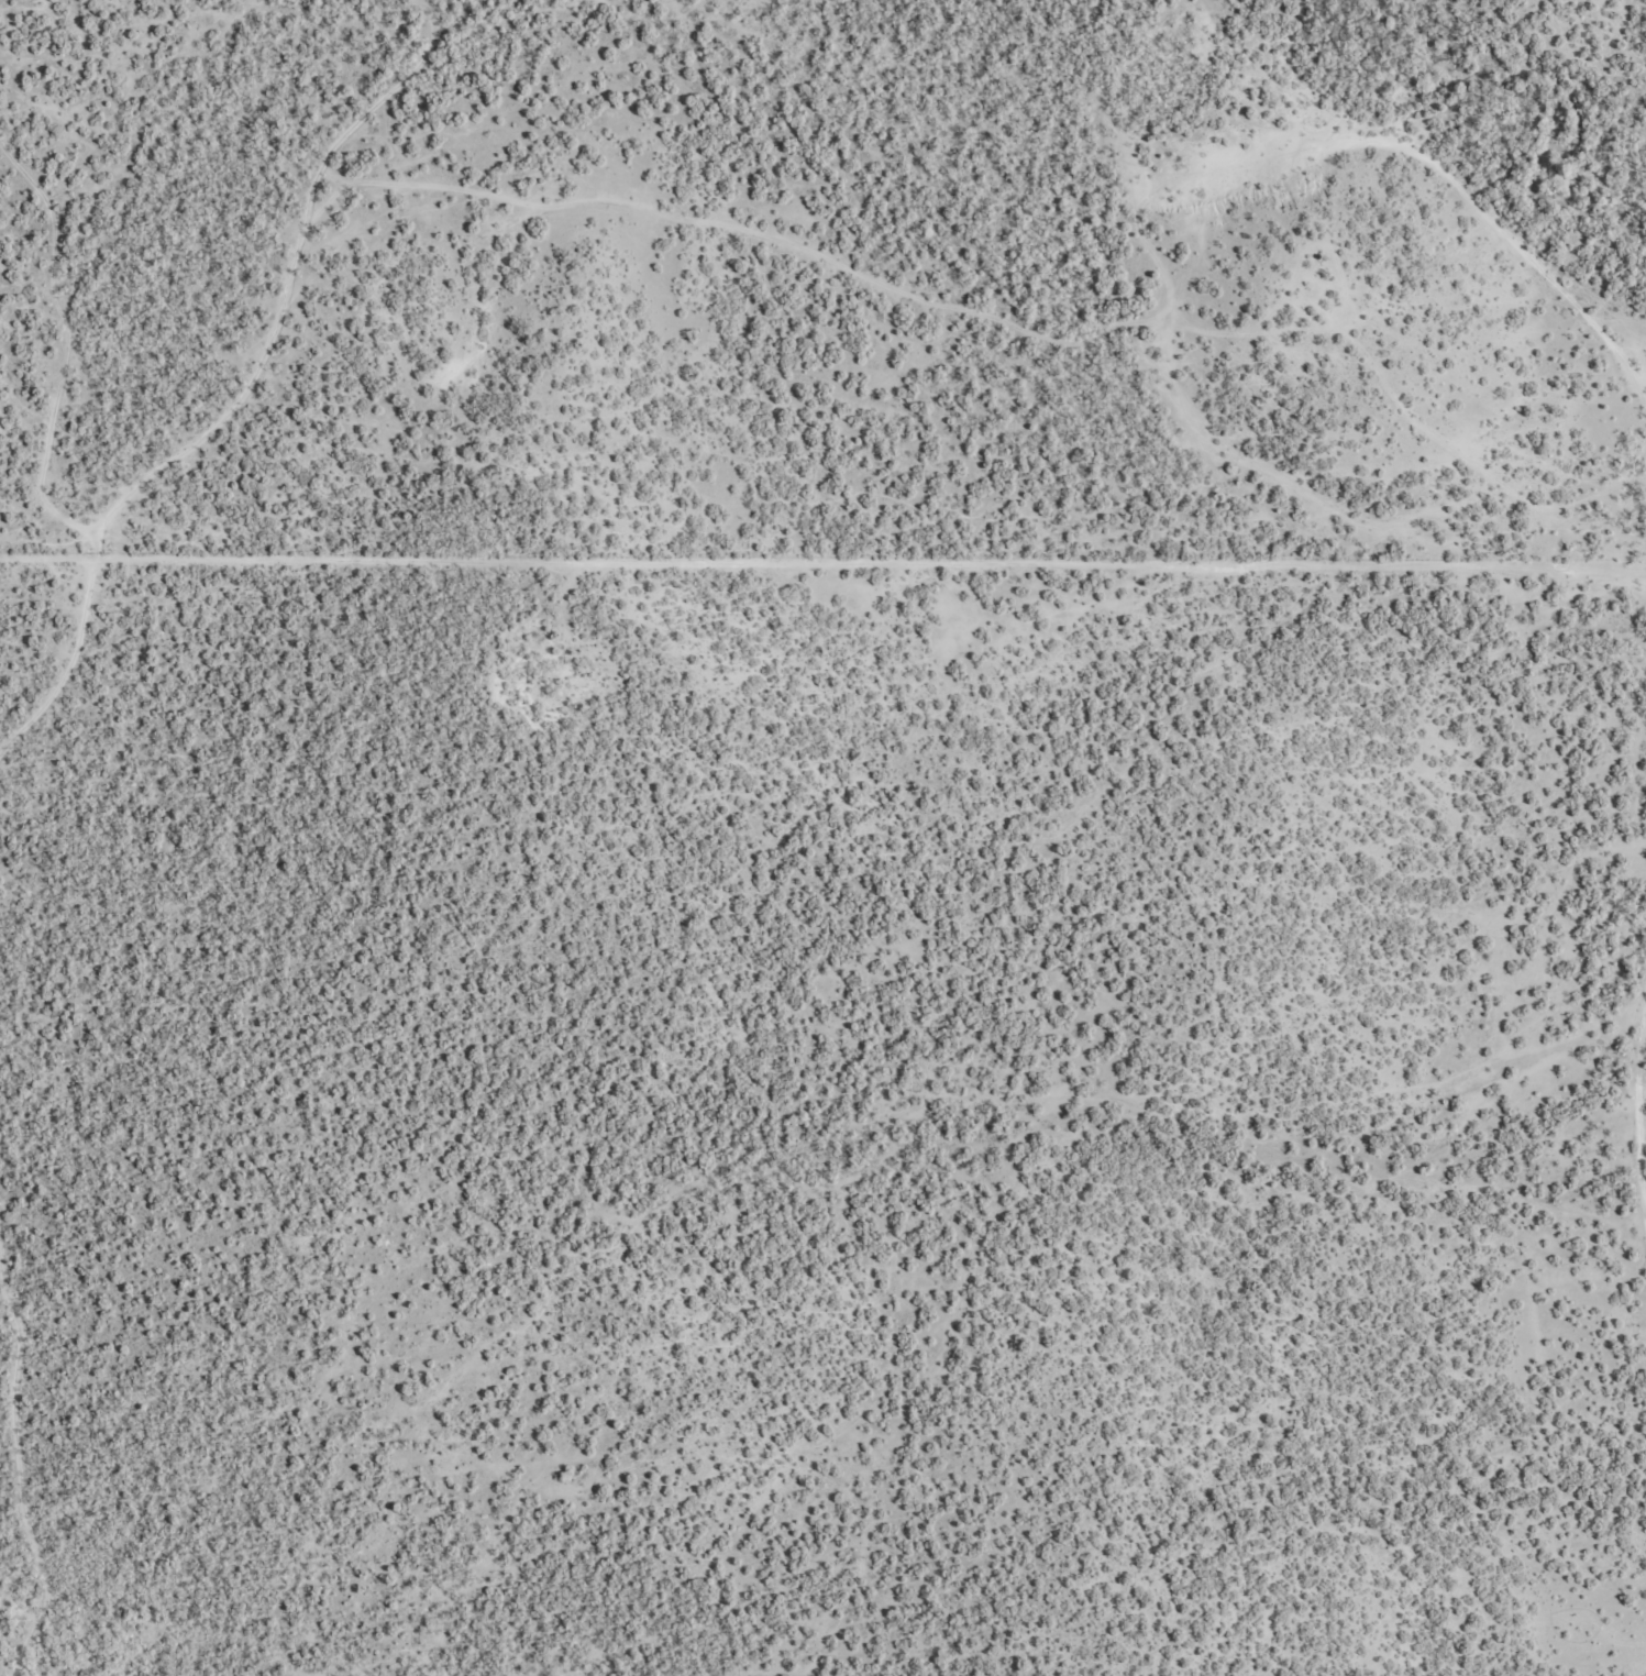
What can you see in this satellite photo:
road: (1381, 13)
road: (201, 143)
road: (43, 1530)

